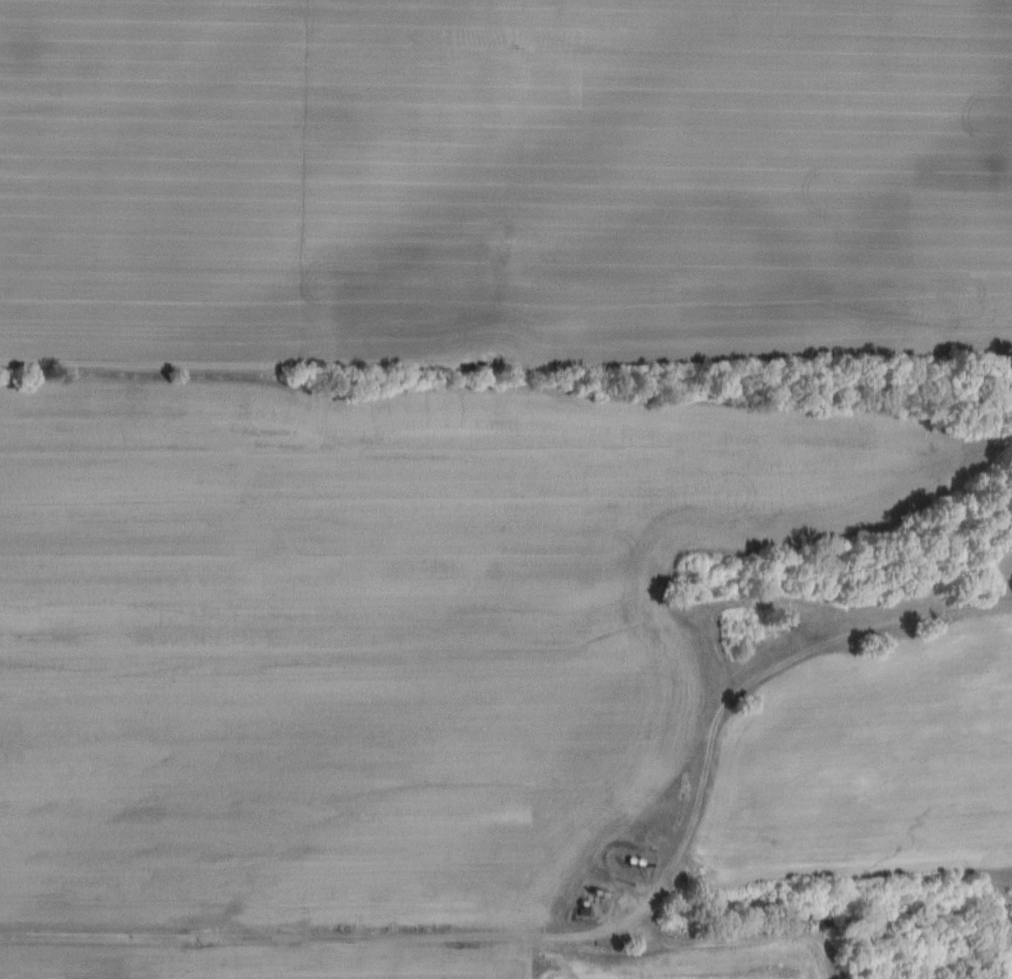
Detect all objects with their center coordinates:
petroleum well: (797, 621)
building: (583, 912)
road: (591, 934)

